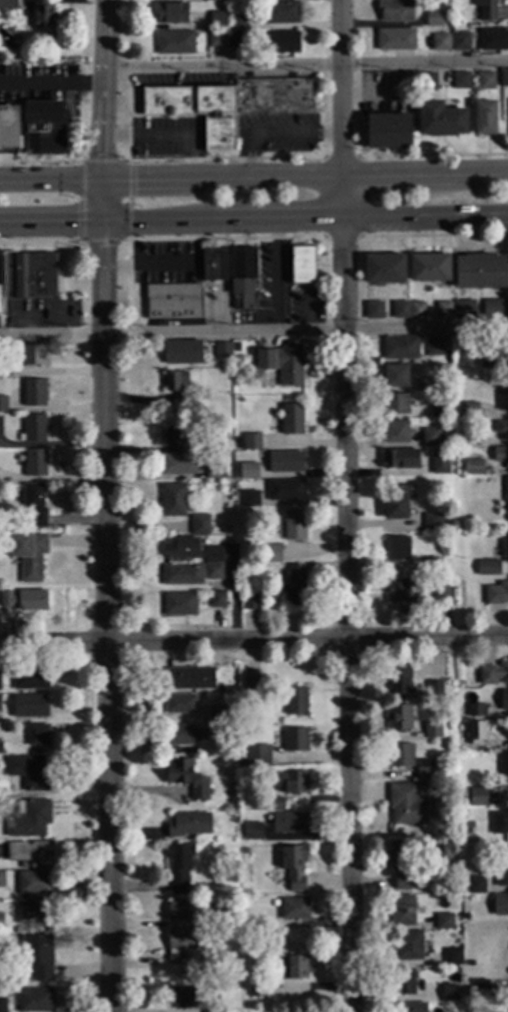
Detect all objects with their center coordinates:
building: (212, 1)
building: (235, 1)
building: (70, 2)
building: (7, 4)
building: (486, 9)
building: (395, 12)
building: (279, 13)
building: (171, 14)
building: (42, 17)
building: (434, 20)
building: (218, 22)
building: (237, 23)
building: (11, 25)
building: (217, 40)
building: (235, 40)
building: (395, 40)
building: (494, 40)
building: (280, 43)
building: (174, 44)
building: (440, 44)
building: (461, 45)
road: (423, 64)
road: (222, 67)
parking lot: (39, 73)
building: (503, 78)
parking lot: (181, 81)
building: (460, 81)
building: (484, 81)
building: (427, 82)
road: (52, 85)
road: (338, 88)
parking lot: (33, 97)
building: (229, 104)
road: (105, 112)
building: (484, 119)
building: (440, 120)
parking lot: (278, 122)
building: (9, 129)
building: (43, 129)
building: (388, 133)
road: (276, 136)
parking lot: (168, 140)
parking lot: (291, 149)
traffic signals: (104, 156)
road: (92, 161)
road: (169, 176)
road: (423, 176)
traffic signals: (134, 177)
road: (340, 199)
road: (129, 204)
road: (424, 220)
road: (170, 224)
traffic signals: (76, 225)
road: (111, 241)
traffic signals: (104, 246)
building: (302, 265)
building: (0, 269)
building: (384, 270)
building: (431, 270)
building: (480, 272)
building: (232, 273)
building: (28, 275)
road: (104, 279)
building: (173, 303)
building: (399, 310)
building: (464, 310)
building: (495, 310)
building: (374, 311)
building: (444, 311)
building: (416, 312)
road: (253, 331)
building: (434, 348)
building: (507, 348)
building: (400, 349)
building: (222, 351)
building: (183, 353)
building: (32, 355)
building: (488, 362)
building: (283, 364)
building: (4, 370)
building: (396, 378)
building: (423, 385)
building: (177, 387)
building: (34, 393)
building: (507, 396)
building: (3, 404)
building: (395, 405)
building: (469, 411)
building: (291, 420)
building: (33, 428)
building: (502, 430)
building: (396, 432)
building: (173, 437)
building: (430, 438)
building: (471, 441)
building: (251, 443)
building: (217, 444)
building: (501, 456)
building: (401, 460)
building: (285, 462)
building: (34, 463)
building: (439, 463)
building: (179, 464)
building: (473, 468)
building: (248, 471)
building: (214, 473)
building: (286, 490)
building: (506, 496)
building: (250, 499)
building: (173, 501)
building: (396, 504)
building: (34, 505)
building: (431, 523)
building: (200, 526)
building: (293, 526)
building: (181, 549)
building: (397, 549)
building: (504, 549)
building: (271, 554)
building: (29, 555)
building: (212, 556)
building: (432, 566)
building: (487, 568)
building: (213, 573)
building: (182, 575)
building: (294, 587)
building: (398, 591)
building: (441, 594)
building: (496, 594)
building: (24, 600)
building: (217, 601)
building: (250, 602)
building: (179, 604)
road: (347, 616)
road: (253, 638)
road: (106, 673)
building: (494, 675)
building: (0, 679)
building: (189, 679)
building: (30, 680)
building: (250, 684)
building: (398, 684)
building: (434, 690)
building: (504, 701)
building: (295, 702)
building: (0, 704)
building: (179, 704)
building: (29, 707)
building: (475, 710)
building: (219, 716)
building: (399, 719)
building: (462, 725)
building: (432, 731)
building: (475, 733)
building: (37, 735)
building: (183, 736)
building: (295, 740)
building: (0, 748)
building: (257, 756)
building: (400, 756)
building: (507, 767)
building: (424, 770)
building: (29, 773)
building: (187, 779)
building: (292, 783)
building: (477, 798)
building: (276, 805)
building: (408, 806)
building: (28, 820)
building: (290, 823)
building: (500, 825)
building: (188, 826)
building: (468, 826)
building: (252, 831)
building: (245, 852)
building: (31, 854)
building: (400, 864)
building: (294, 866)
building: (179, 868)
building: (501, 877)
building: (2, 880)
building: (35, 884)
building: (476, 885)
building: (275, 903)
building: (500, 906)
building: (294, 909)
building: (181, 911)
building: (402, 911)
building: (33, 913)
building: (465, 918)
building: (210, 920)
building: (1, 922)
building: (444, 922)
building: (180, 945)
building: (406, 946)
building: (38, 956)
building: (452, 958)
building: (473, 966)
building: (296, 968)
building: (249, 979)
building: (403, 982)
building: (256, 990)
building: (480, 990)
building: (449, 994)
building: (182, 998)
building: (34, 1000)
building: (2, 1005)
building: (211, 1008)
building: (409, 1008)

